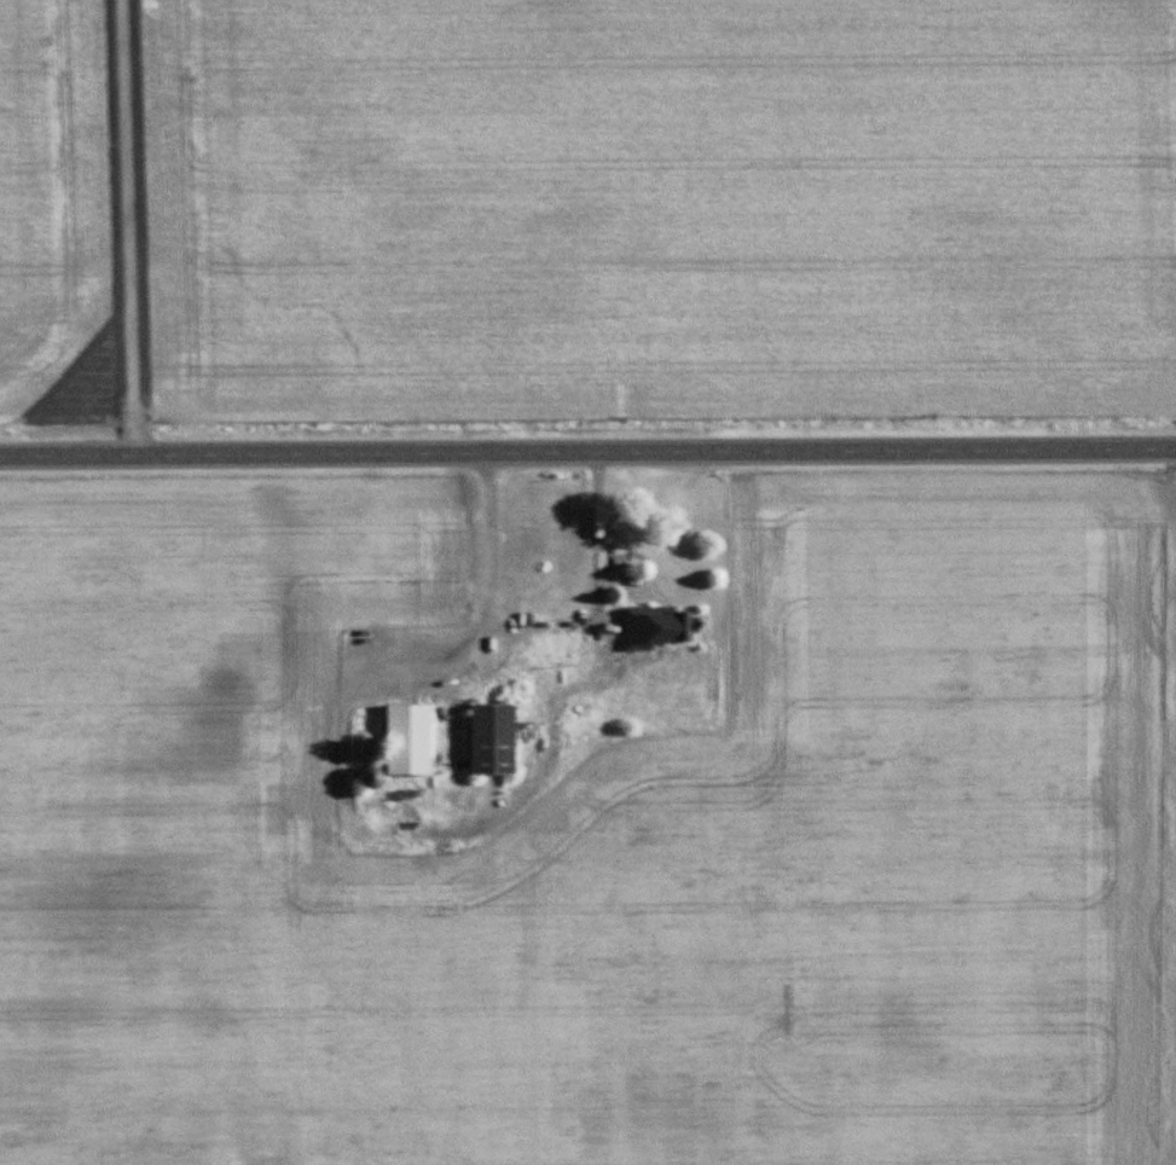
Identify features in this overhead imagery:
road: (587, 451)
road: (581, 516)
road: (474, 531)
building: (656, 627)
building: (493, 740)
building: (409, 741)

